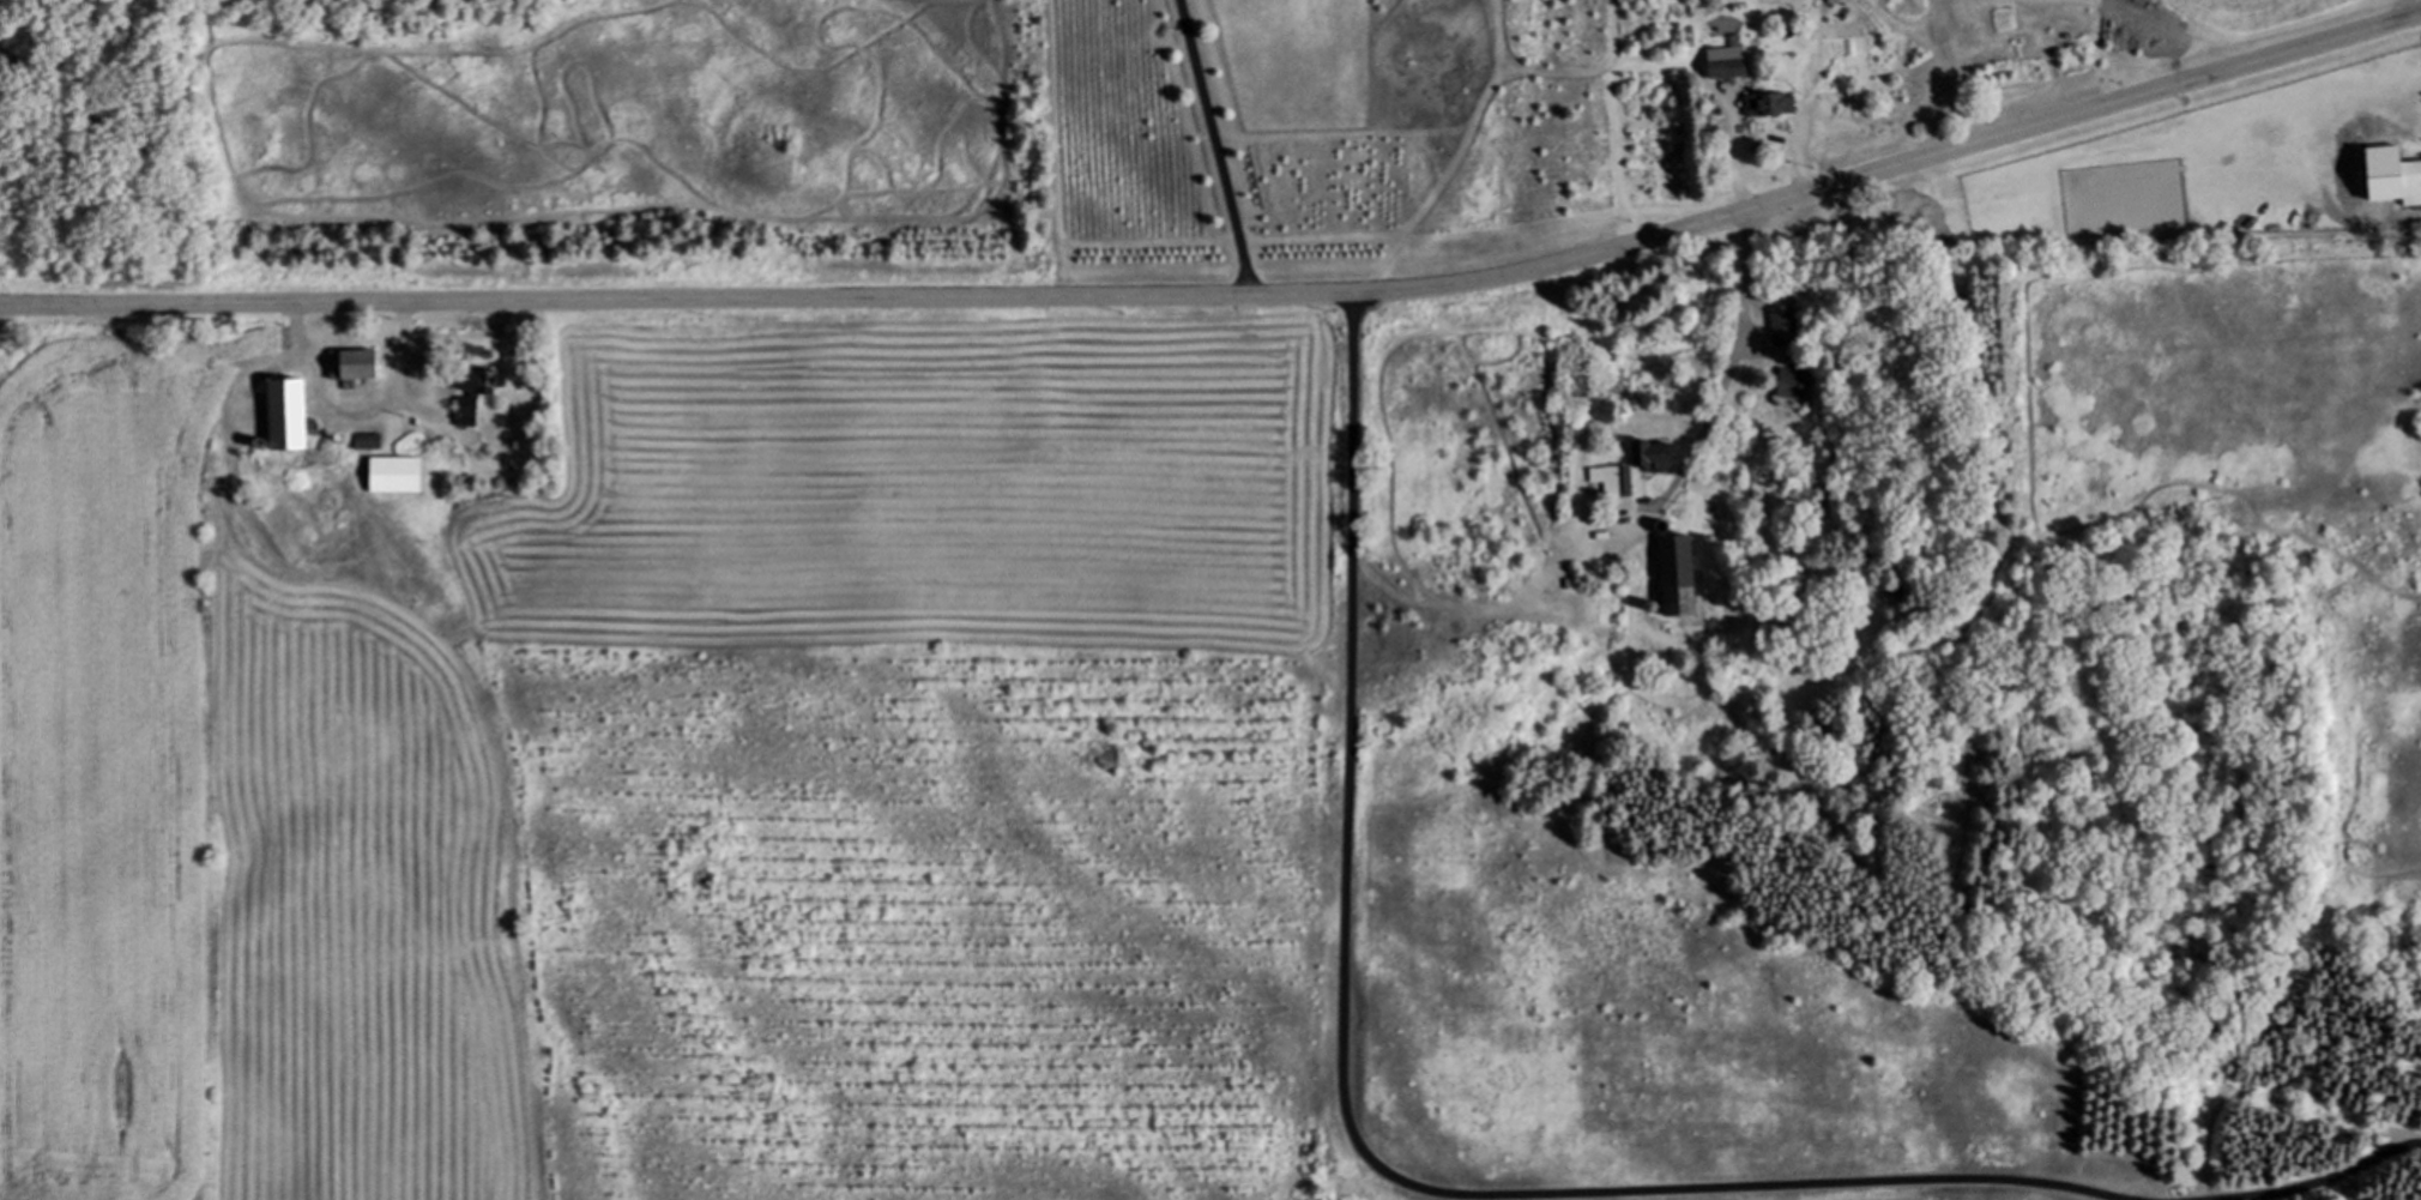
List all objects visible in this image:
building: (1731, 62)
building: (1775, 105)
road: (1221, 147)
building: (2409, 183)
road: (1228, 295)
building: (1783, 326)
building: (362, 366)
road: (1731, 368)
building: (1795, 386)
building: (481, 393)
building: (297, 415)
building: (373, 442)
building: (1660, 456)
building: (403, 476)
building: (1614, 481)
building: (1685, 577)

